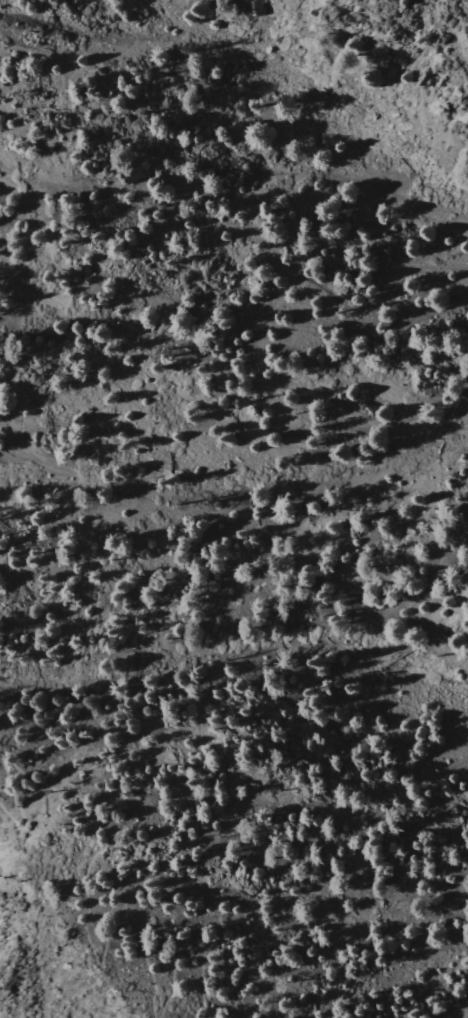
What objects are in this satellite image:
road: (108, 930)
road: (240, 1004)

